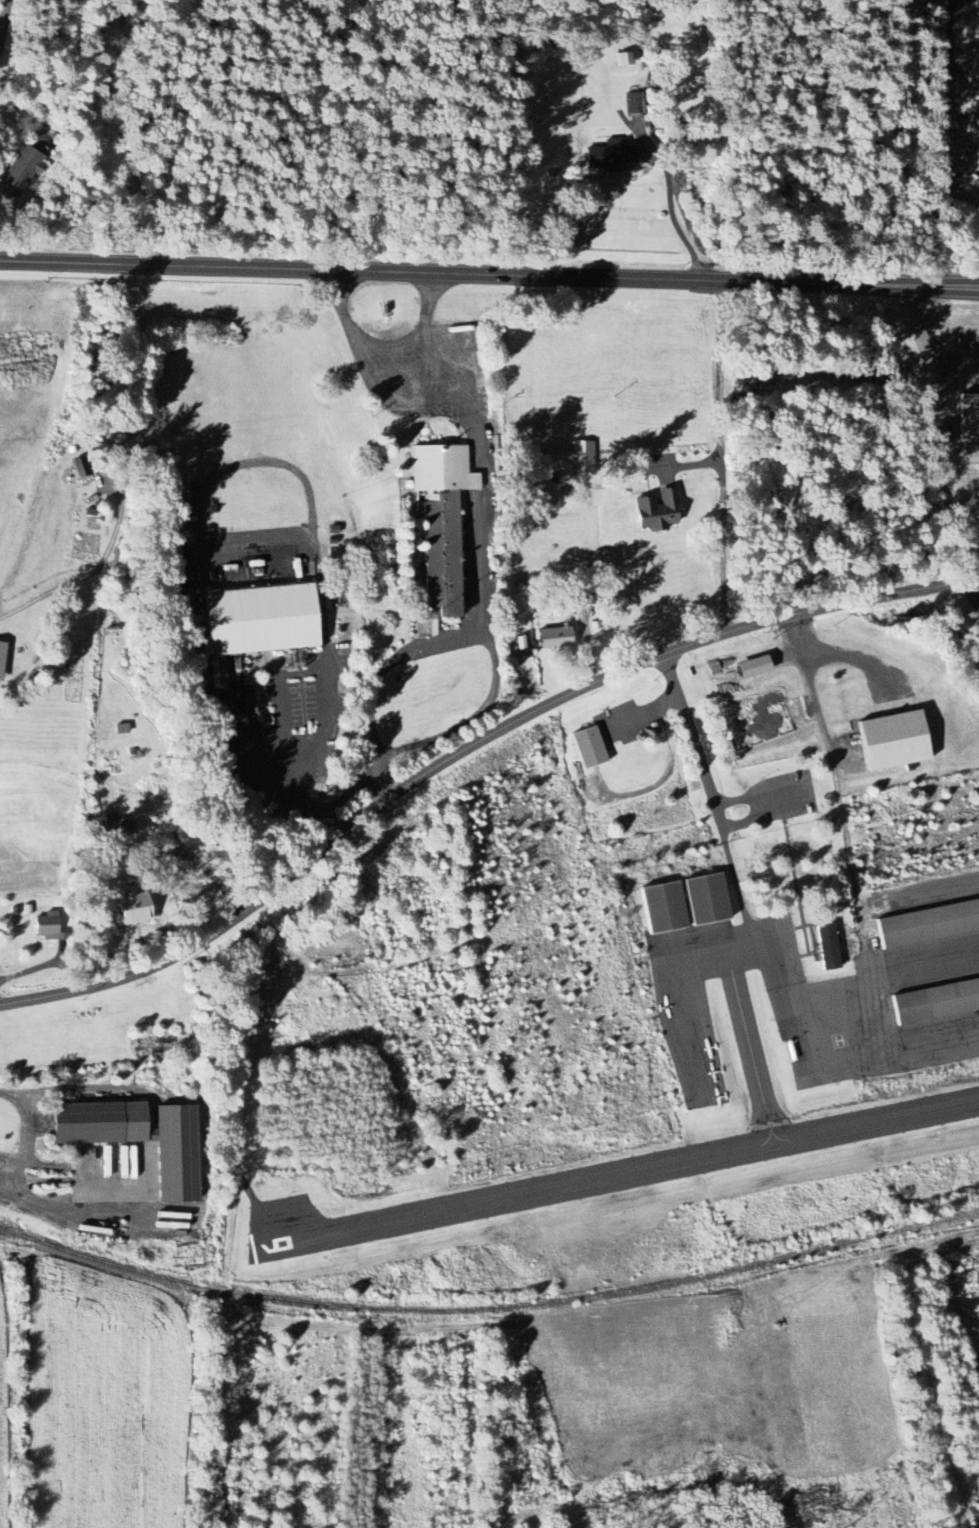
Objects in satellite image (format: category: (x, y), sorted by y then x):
quarry: (978, 0)
building: (612, 156)
building: (22, 171)
road: (489, 277)
road: (383, 343)
road: (928, 347)
road: (355, 351)
road: (408, 368)
road: (409, 399)
building: (969, 417)
building: (582, 458)
road: (722, 459)
building: (79, 468)
road: (482, 472)
building: (182, 492)
building: (659, 511)
building: (436, 519)
road: (975, 590)
building: (262, 620)
building: (556, 638)
building: (2, 658)
road: (389, 663)
building: (755, 668)
road: (330, 715)
road: (642, 716)
road: (470, 719)
parking lot: (623, 724)
building: (895, 741)
building: (590, 748)
road: (468, 751)
road: (238, 771)
road: (380, 782)
road: (704, 784)
road: (803, 791)
road: (349, 793)
parking lot: (784, 797)
building: (120, 828)
road: (211, 874)
airport hangar: (703, 899)
building: (703, 899)
building: (132, 906)
airport hangar: (660, 908)
building: (660, 908)
airport hangar: (929, 924)
building: (929, 924)
building: (49, 926)
building: (829, 948)
road: (32, 970)
airport apron: (835, 991)
airport hangar: (935, 1002)
building: (935, 1002)
airport taxiway: (752, 1059)
airport: (711, 1075)
building: (100, 1123)
road: (27, 1125)
building: (177, 1154)
airport runway: (618, 1177)
railway: (489, 1315)

